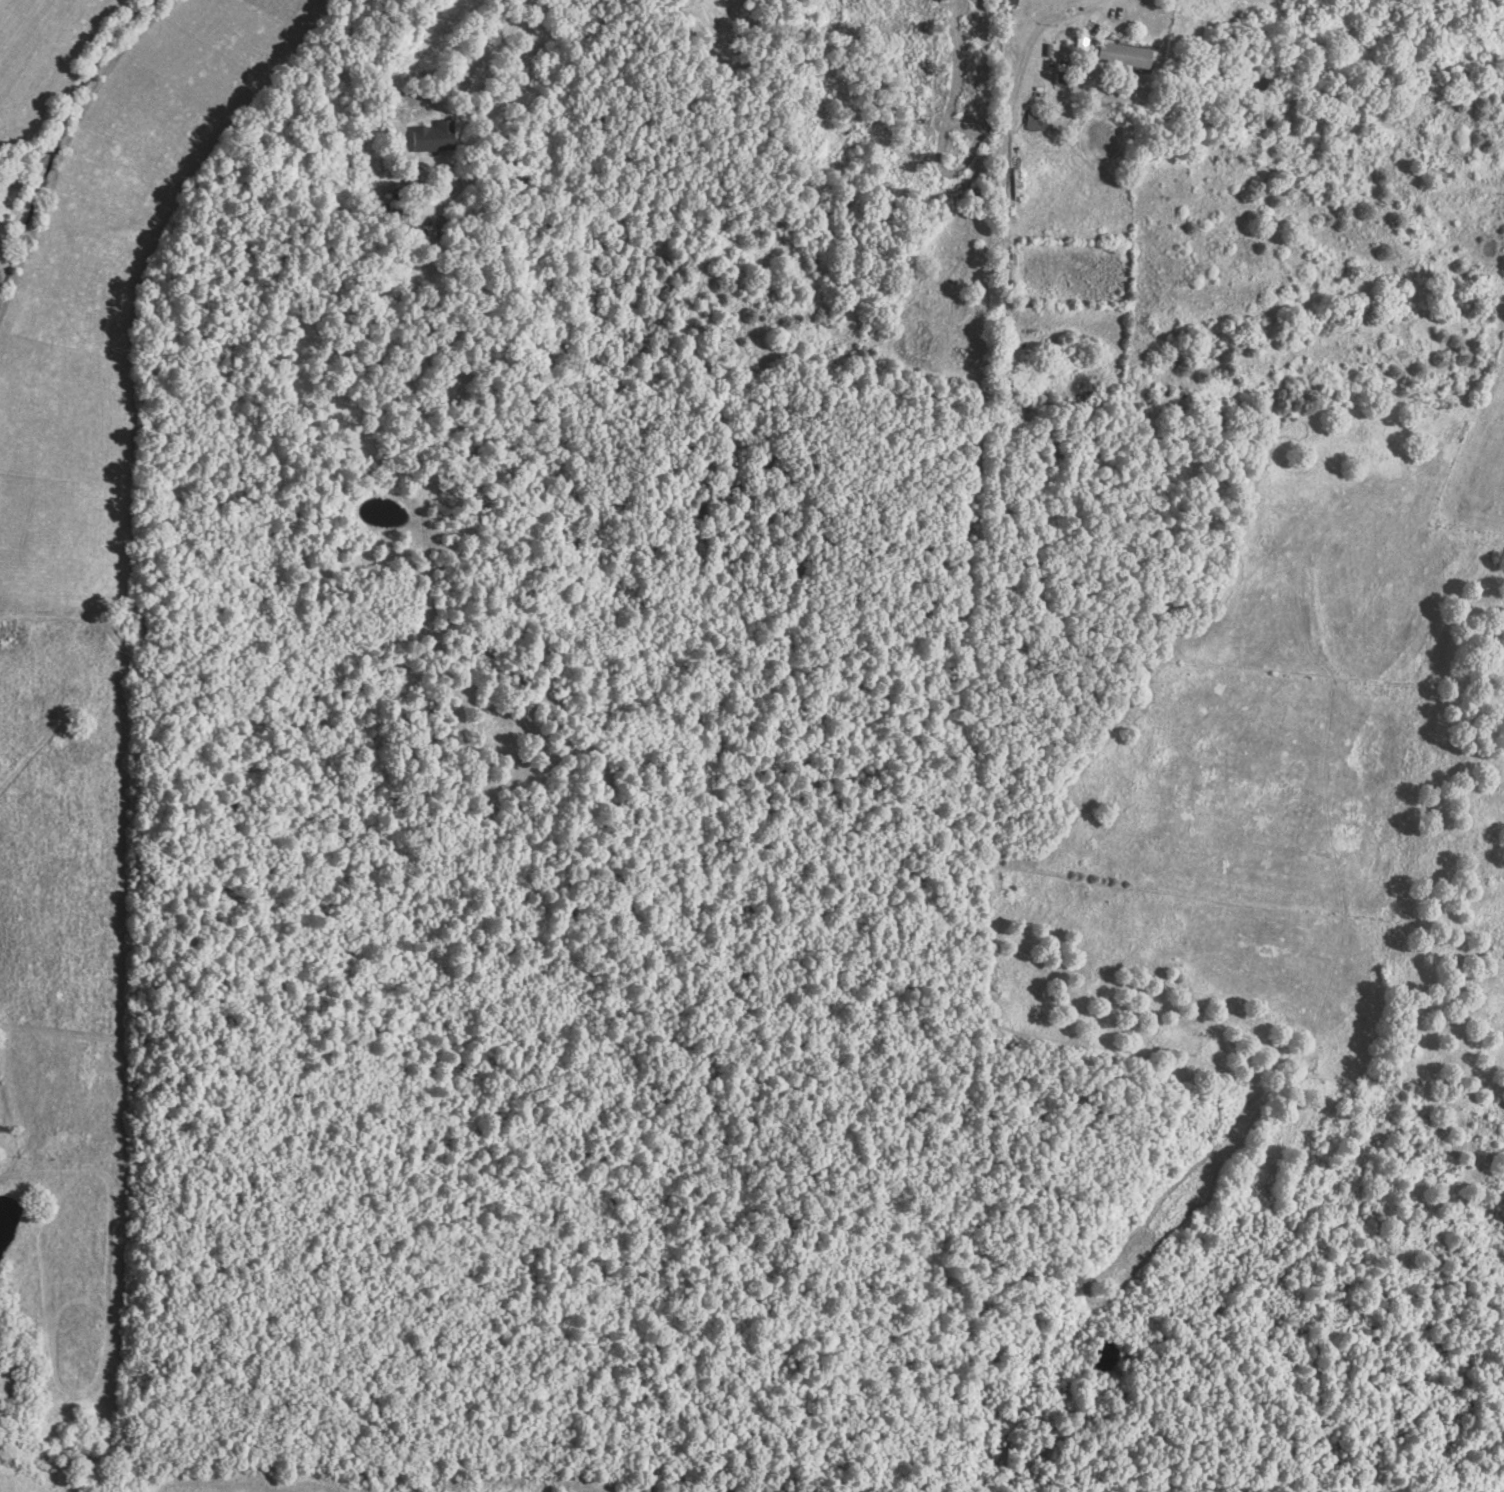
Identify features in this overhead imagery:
road: (488, 47)
building: (1123, 55)
building: (1035, 120)
road: (1002, 134)
building: (434, 135)

